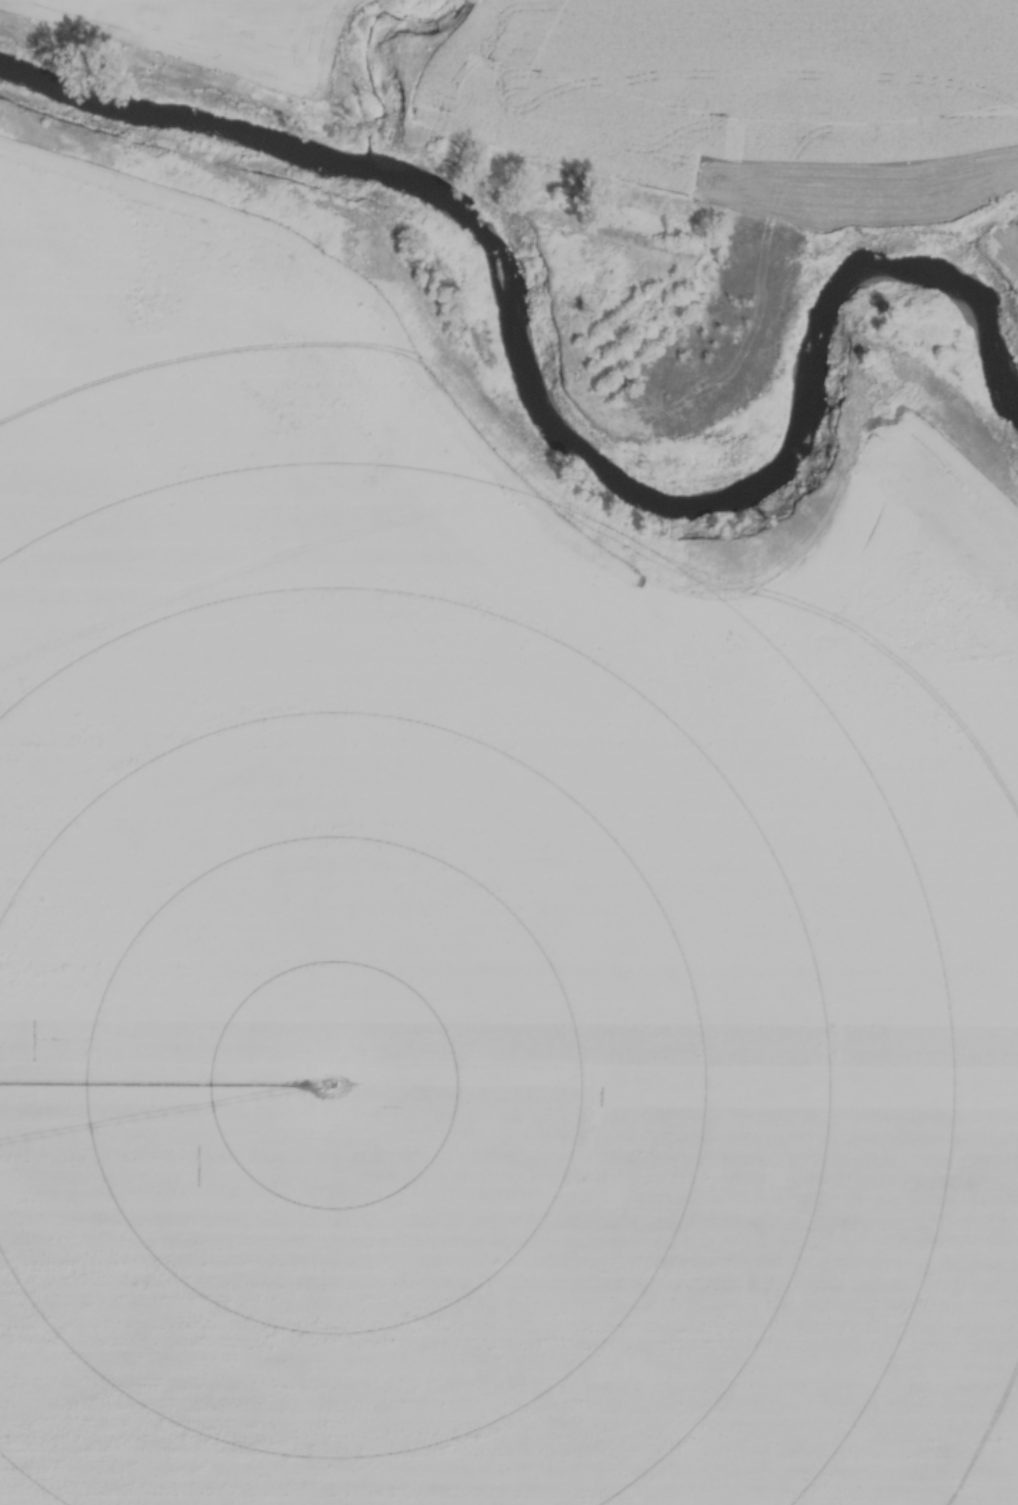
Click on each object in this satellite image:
river: (553, 432)

